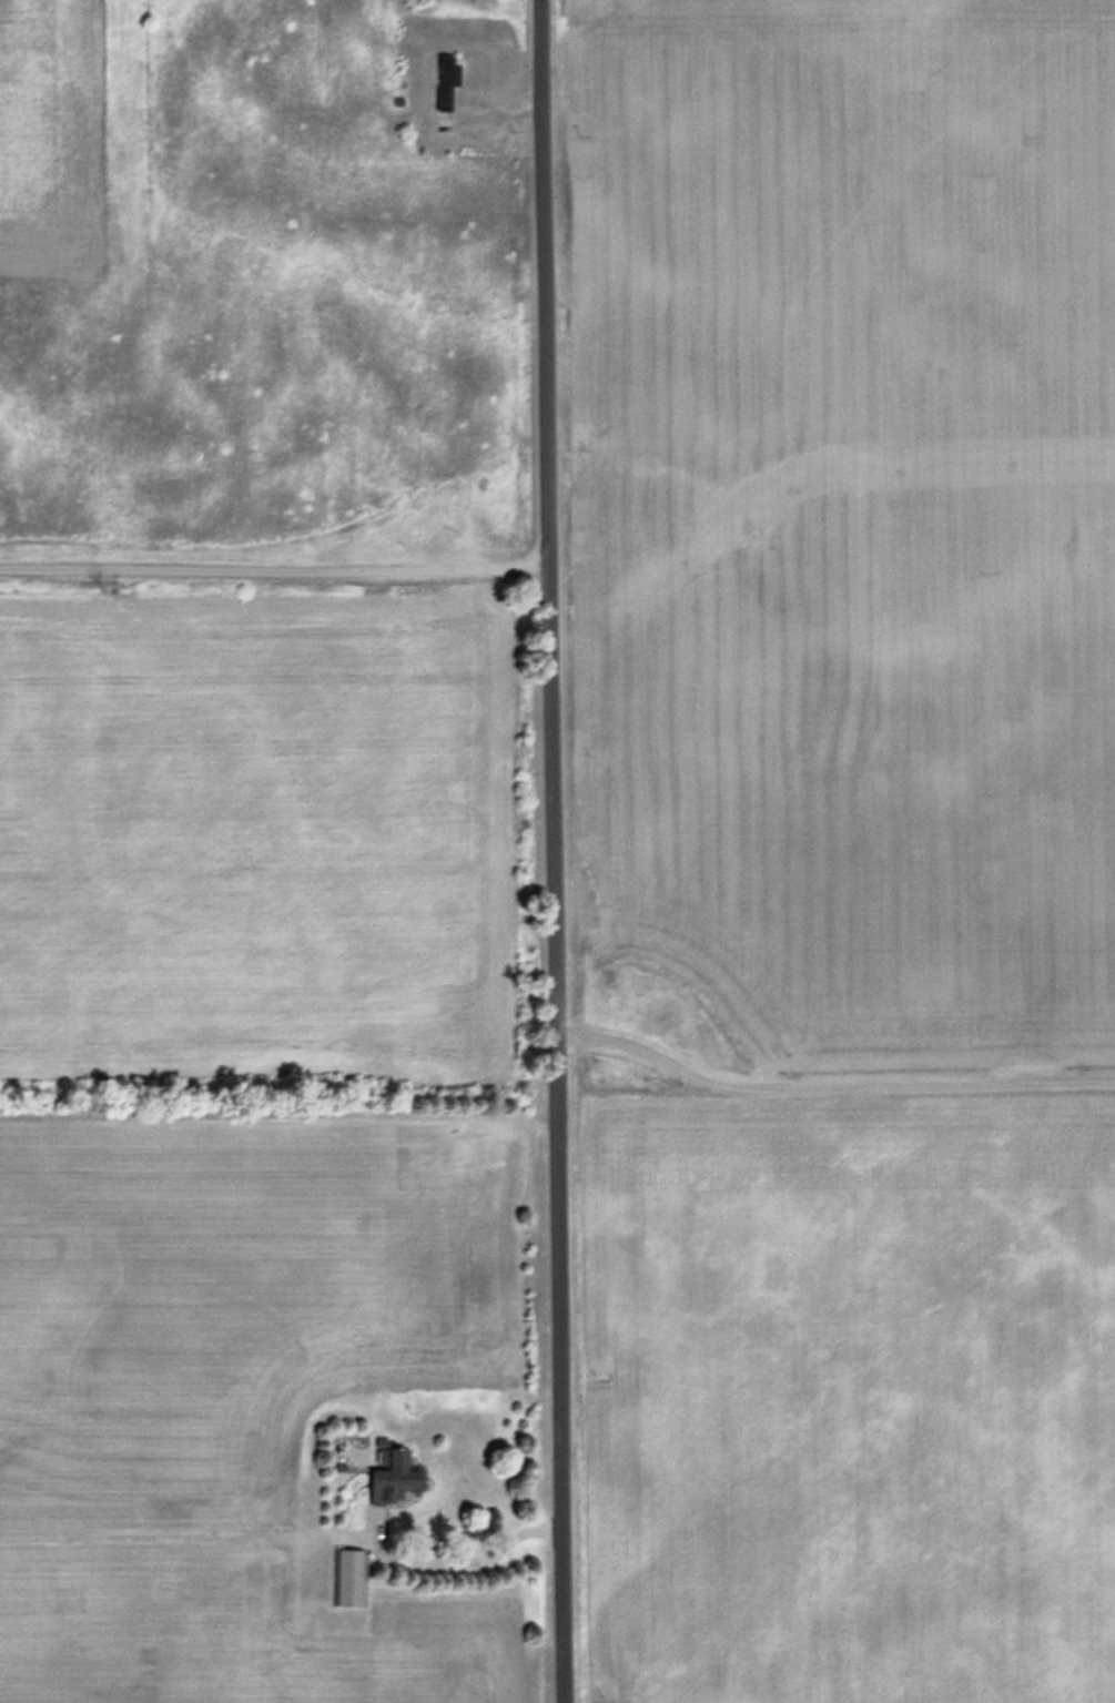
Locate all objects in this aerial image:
building: (449, 79)
road: (555, 851)
building: (398, 1478)
building: (352, 1575)

